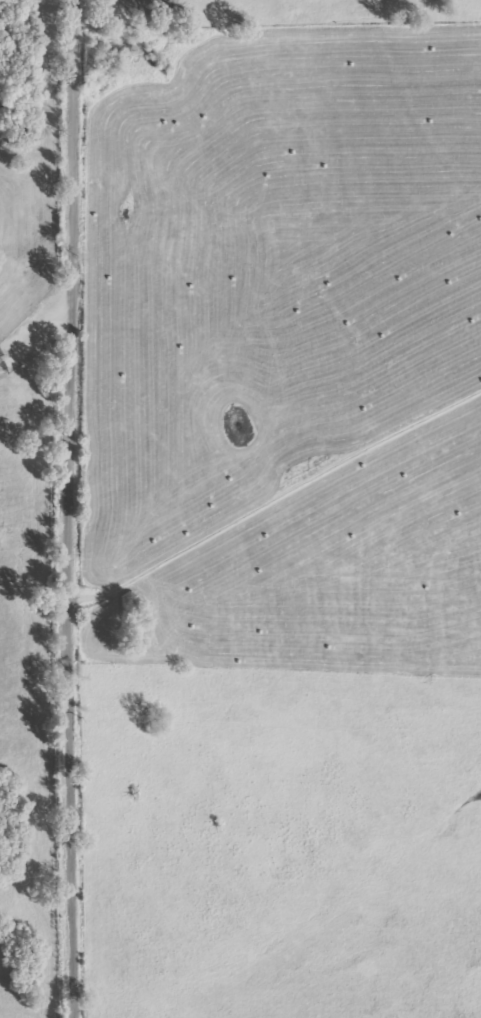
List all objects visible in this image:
road: (25, 358)
road: (51, 508)

